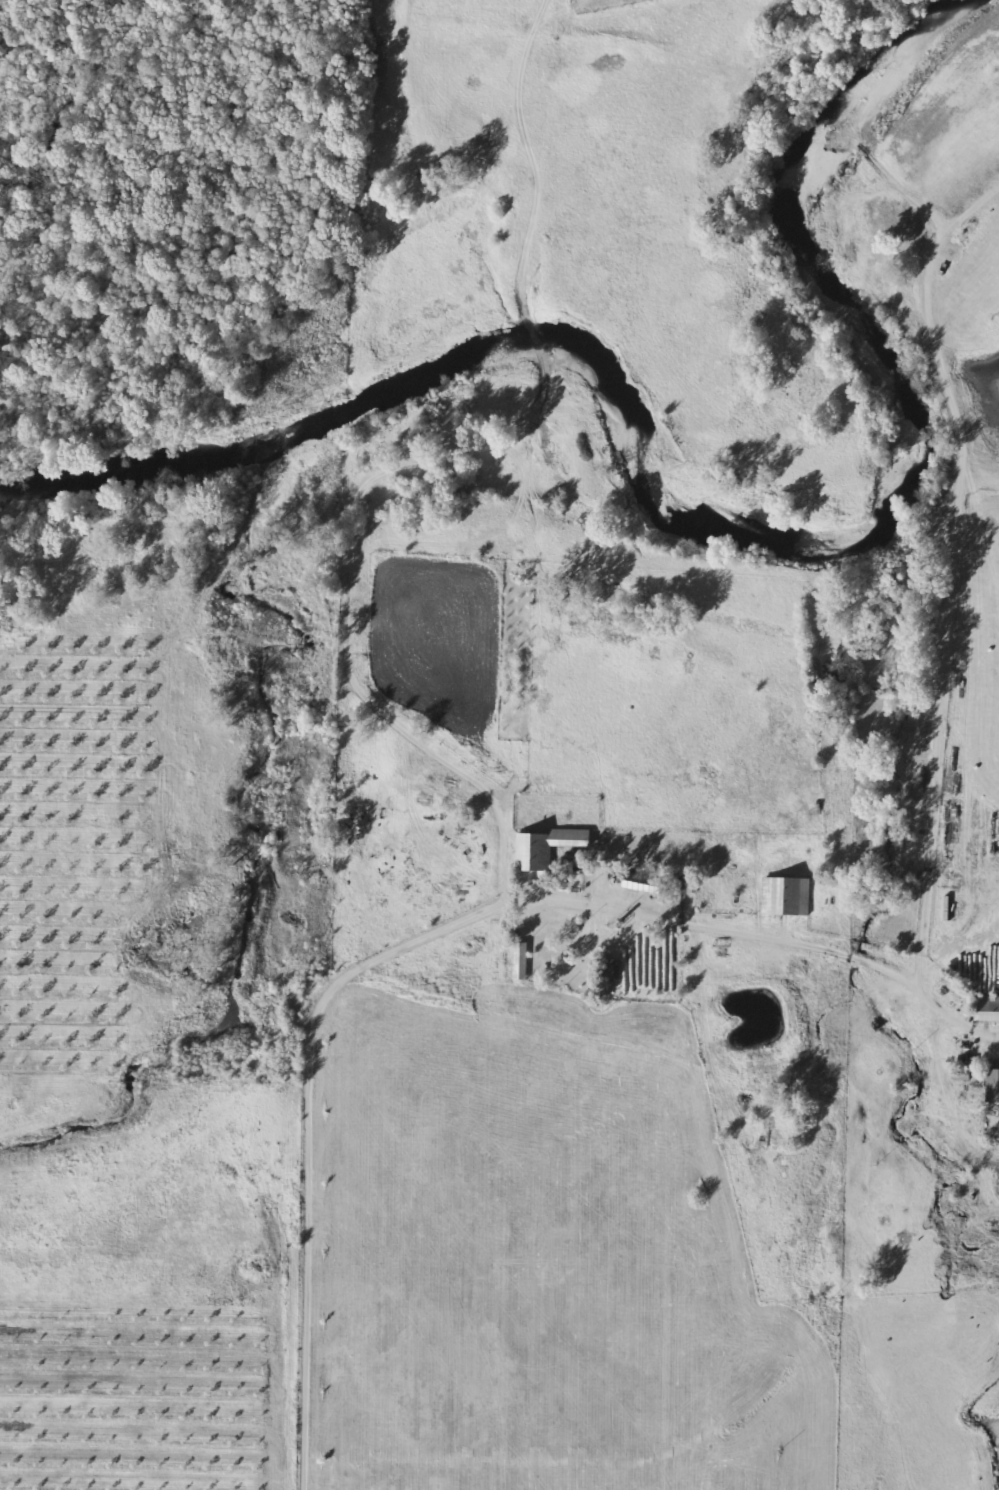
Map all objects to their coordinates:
river: (701, 527)
building: (67, 641)
building: (544, 848)
building: (633, 883)
building: (784, 897)
road: (422, 938)
building: (519, 962)
building: (637, 971)
building: (987, 1009)
building: (992, 1087)

